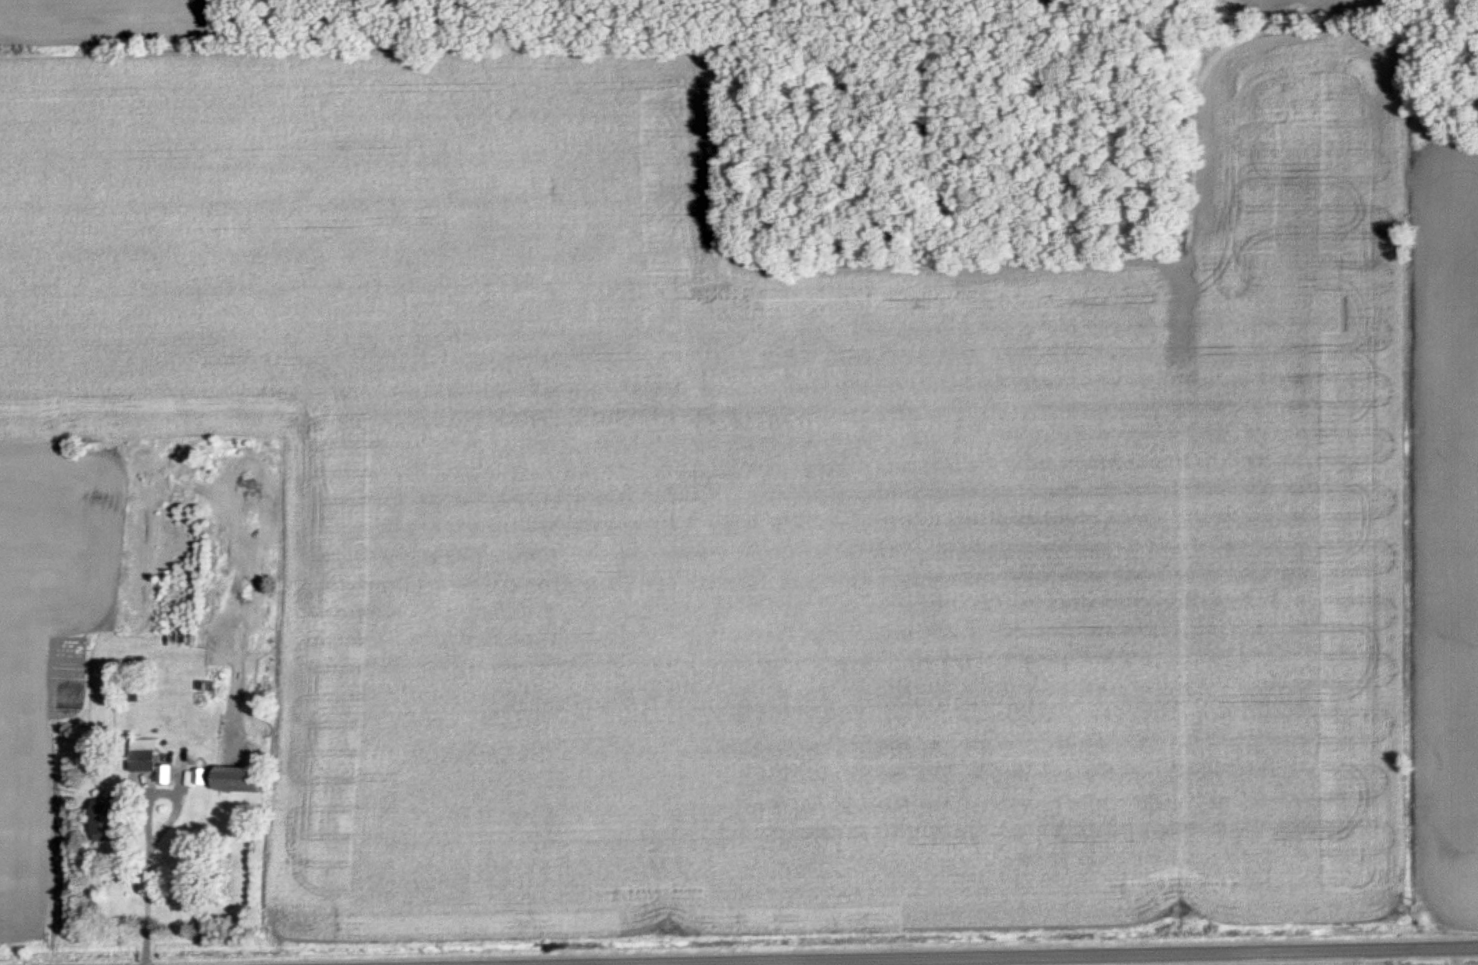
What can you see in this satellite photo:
building: (156, 765)
building: (249, 780)
building: (116, 820)
road: (143, 888)
road: (922, 957)
road: (478, 964)

